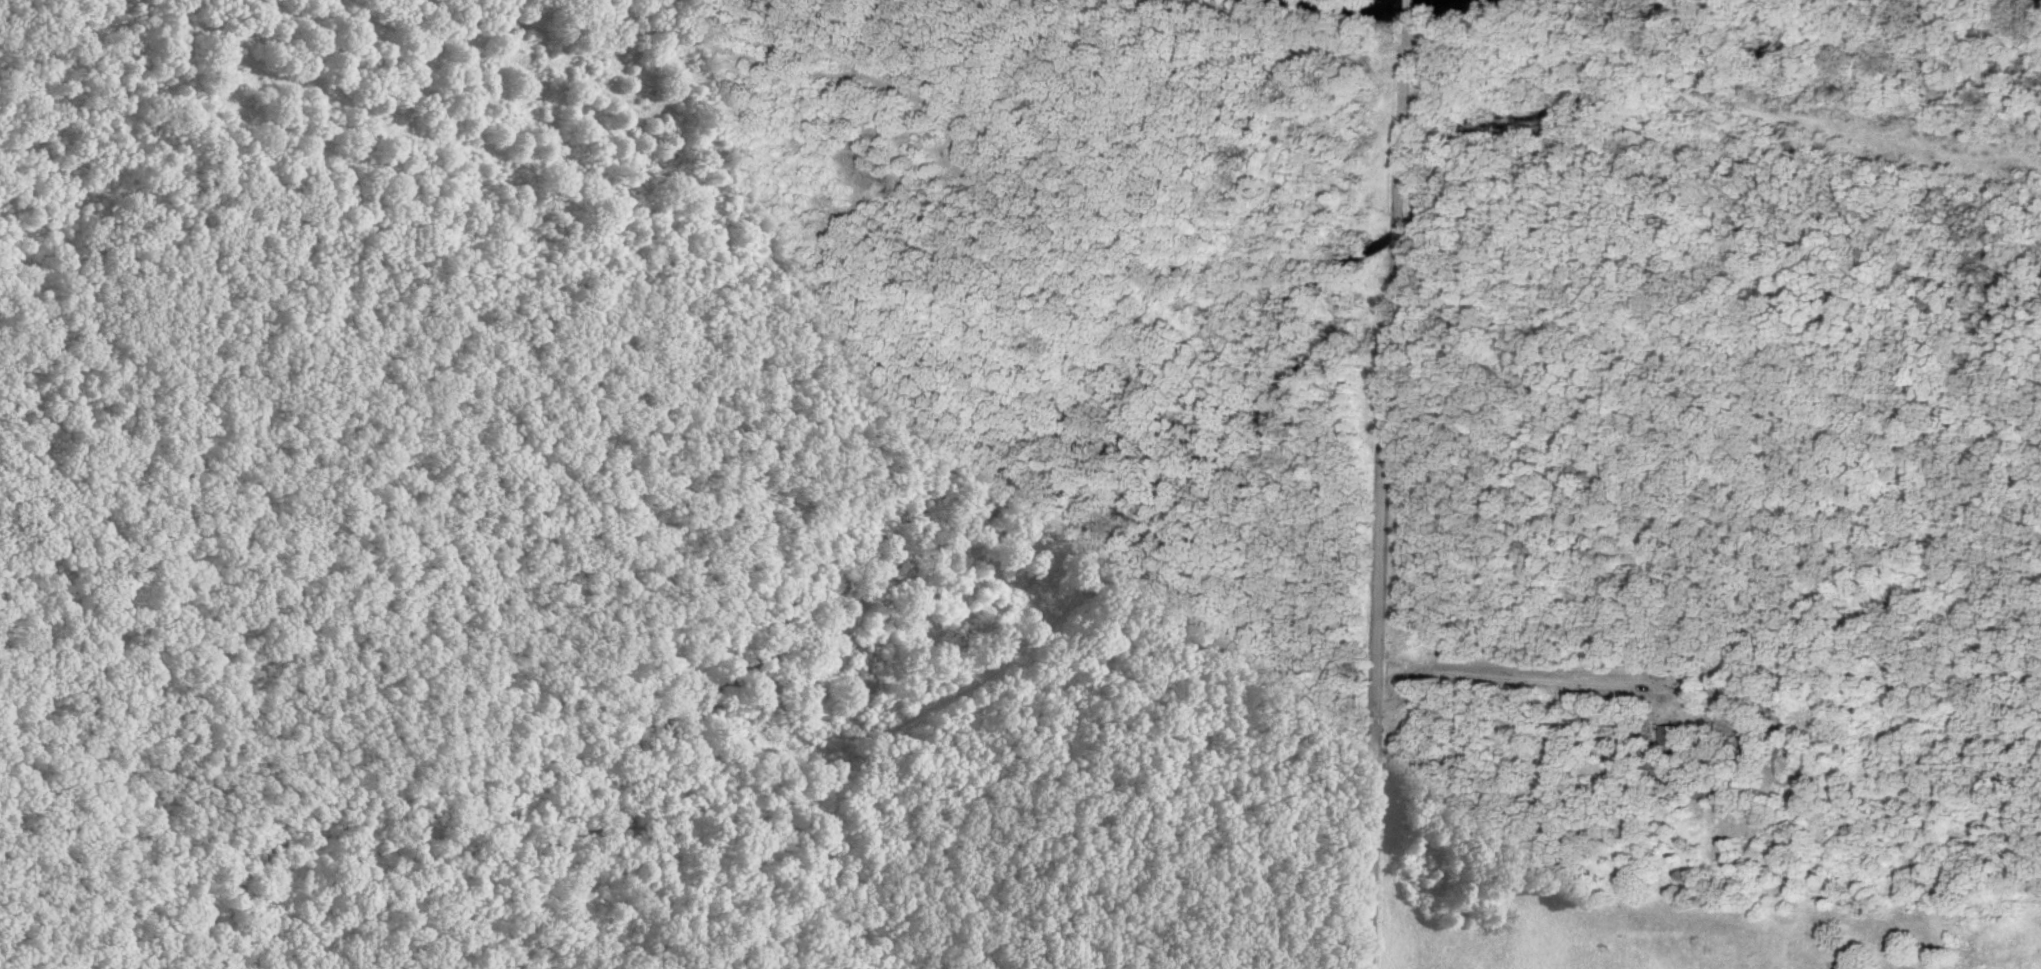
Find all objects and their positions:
road: (1411, 12)
road: (1380, 496)
road: (1537, 675)

